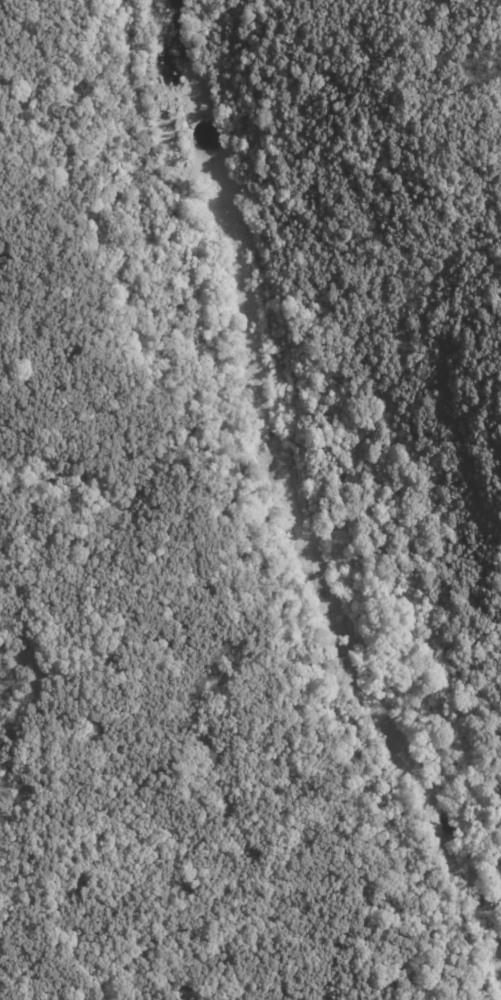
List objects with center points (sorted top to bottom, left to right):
road: (291, 307)
park: (283, 425)
road: (260, 505)
road: (410, 553)

